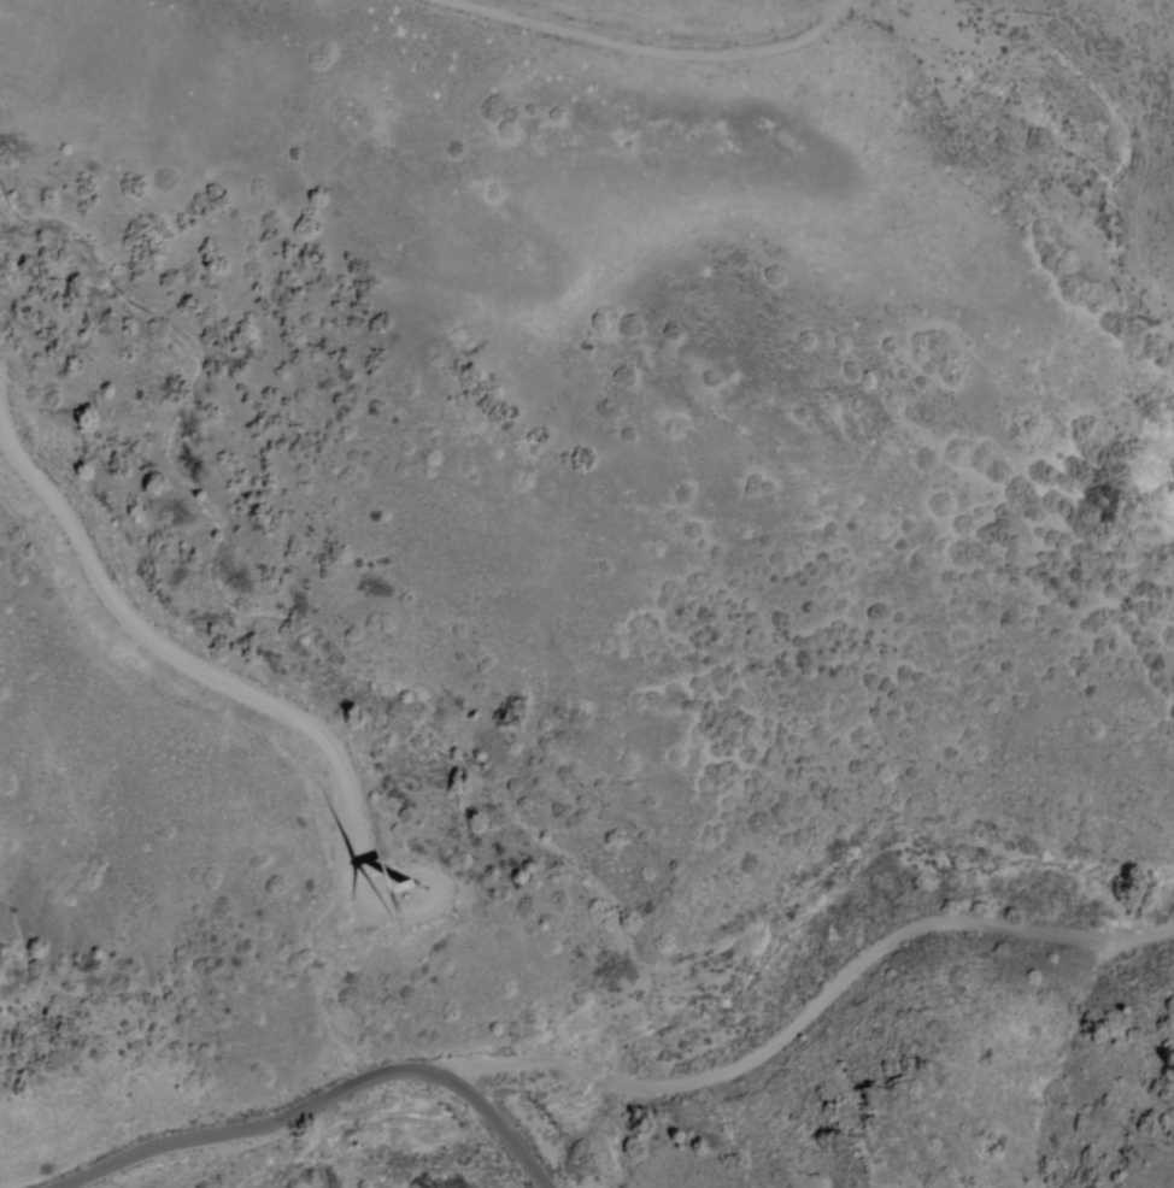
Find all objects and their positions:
road: (647, 42)
wind turbine: (417, 875)
road: (616, 1024)

